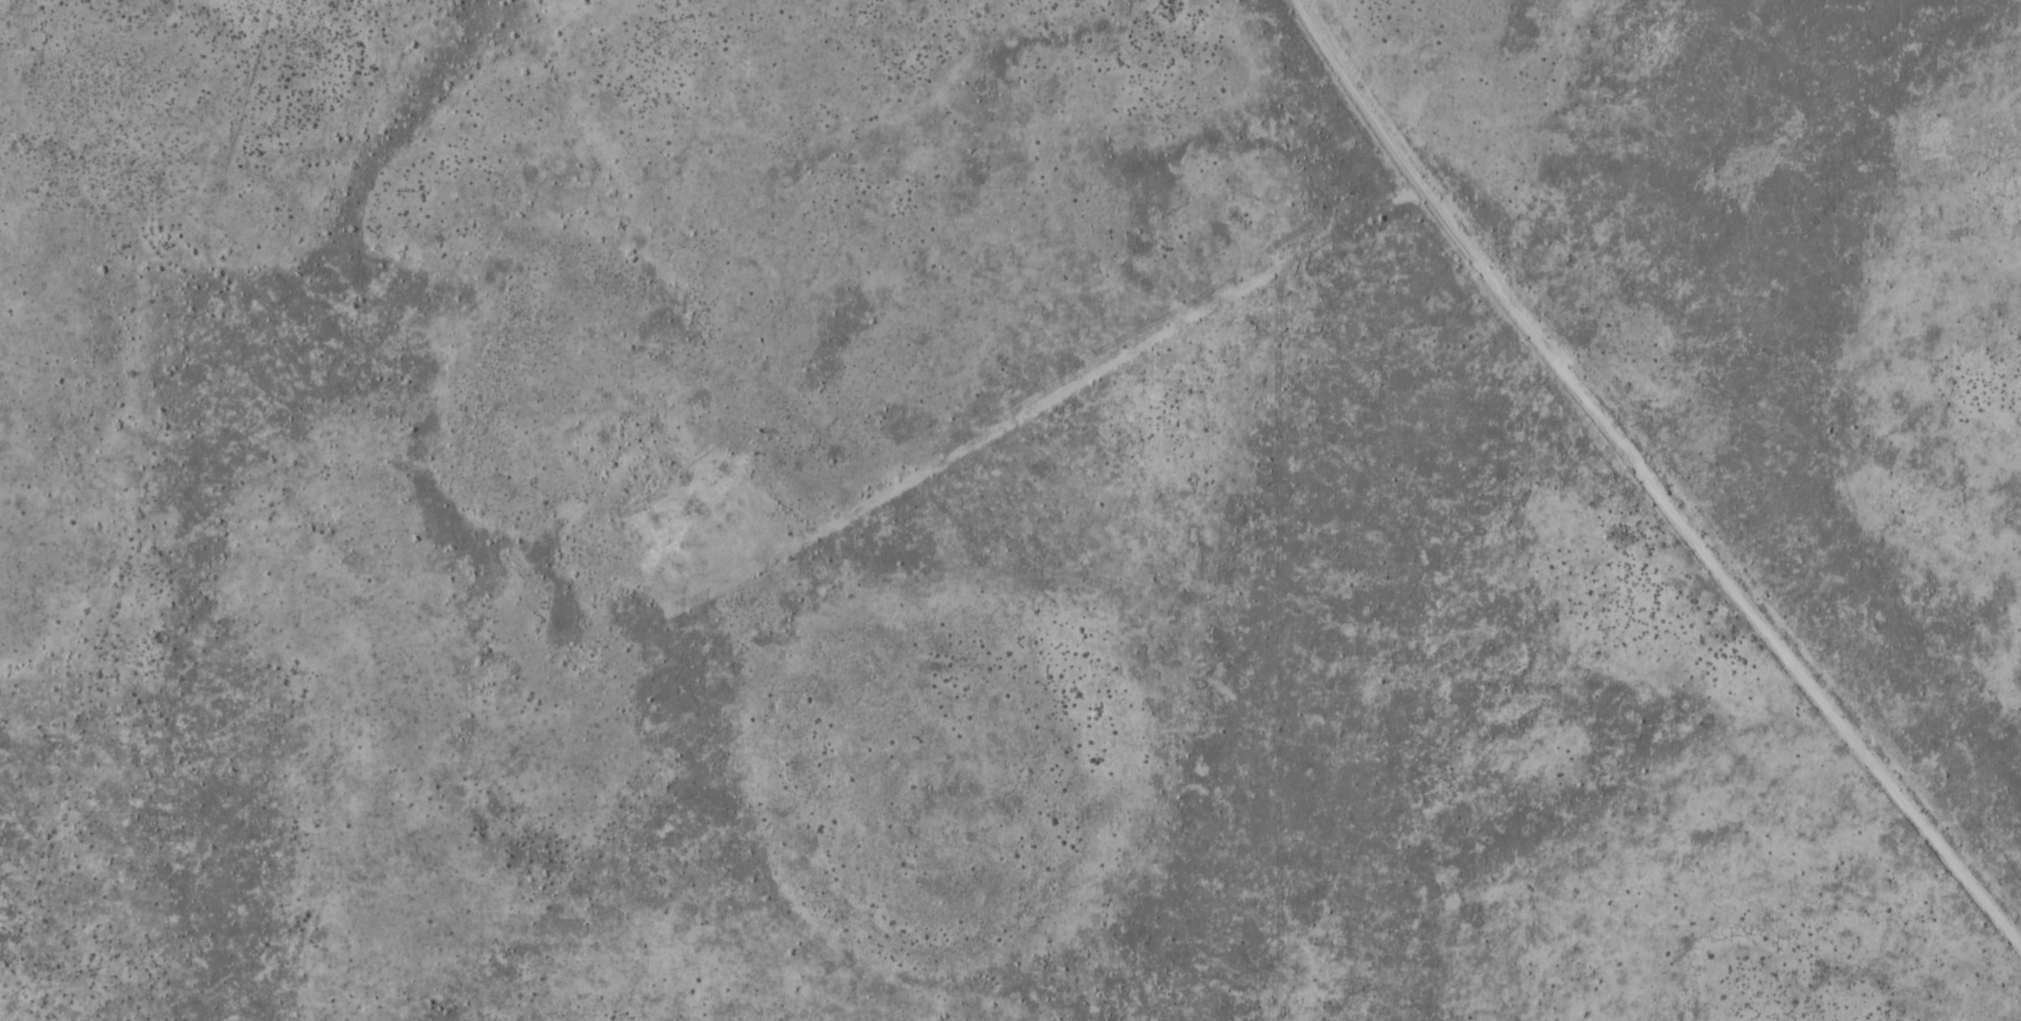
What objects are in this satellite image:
road: (1048, 394)
road: (1656, 474)

